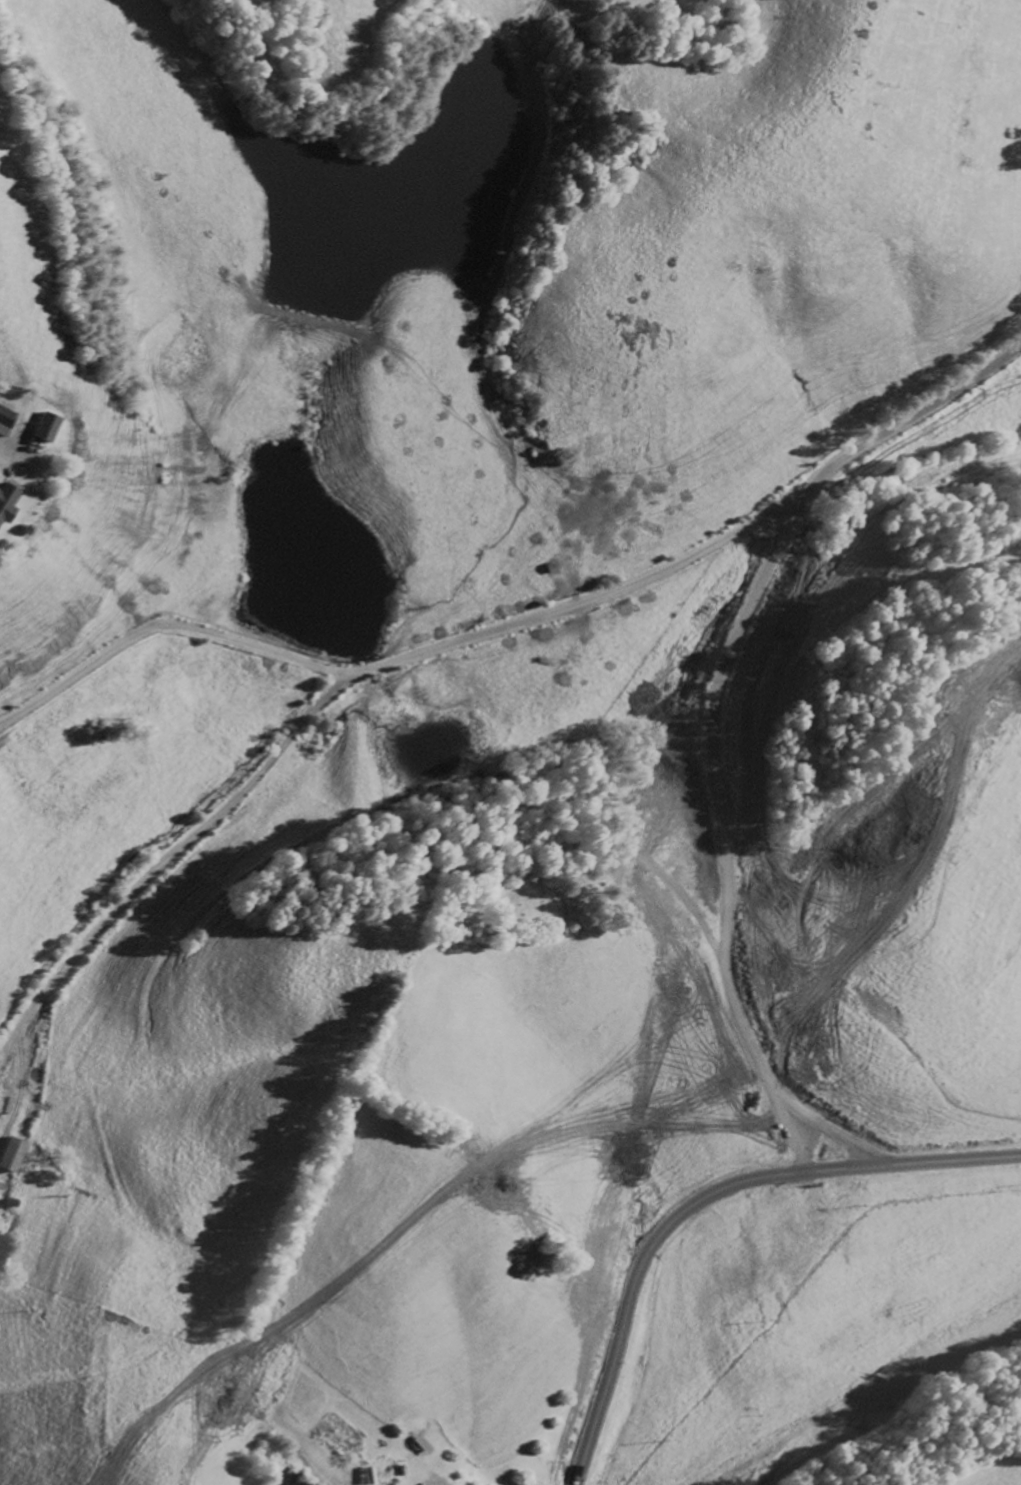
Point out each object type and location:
building: (5, 419)
building: (46, 426)
road: (743, 619)
road: (777, 1060)
road: (583, 1133)
building: (12, 1154)
road: (909, 1158)
road: (645, 1260)
building: (420, 1441)

